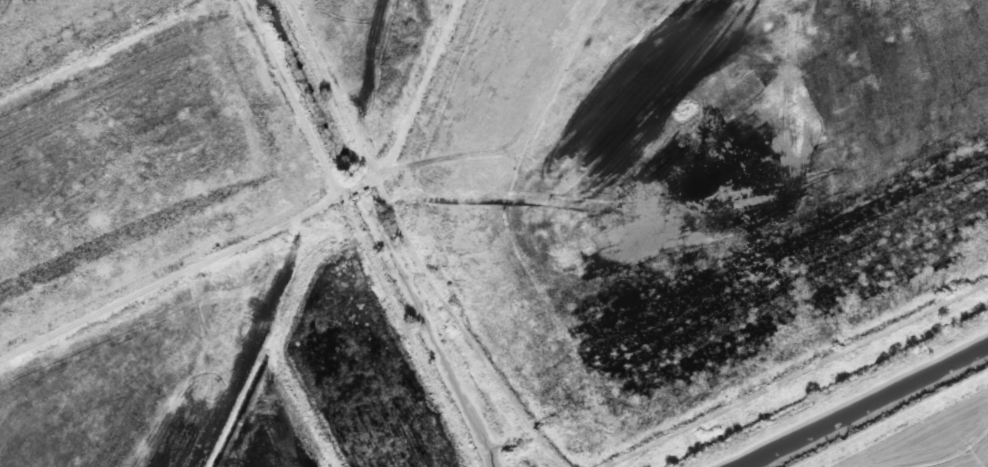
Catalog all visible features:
road: (901, 424)

